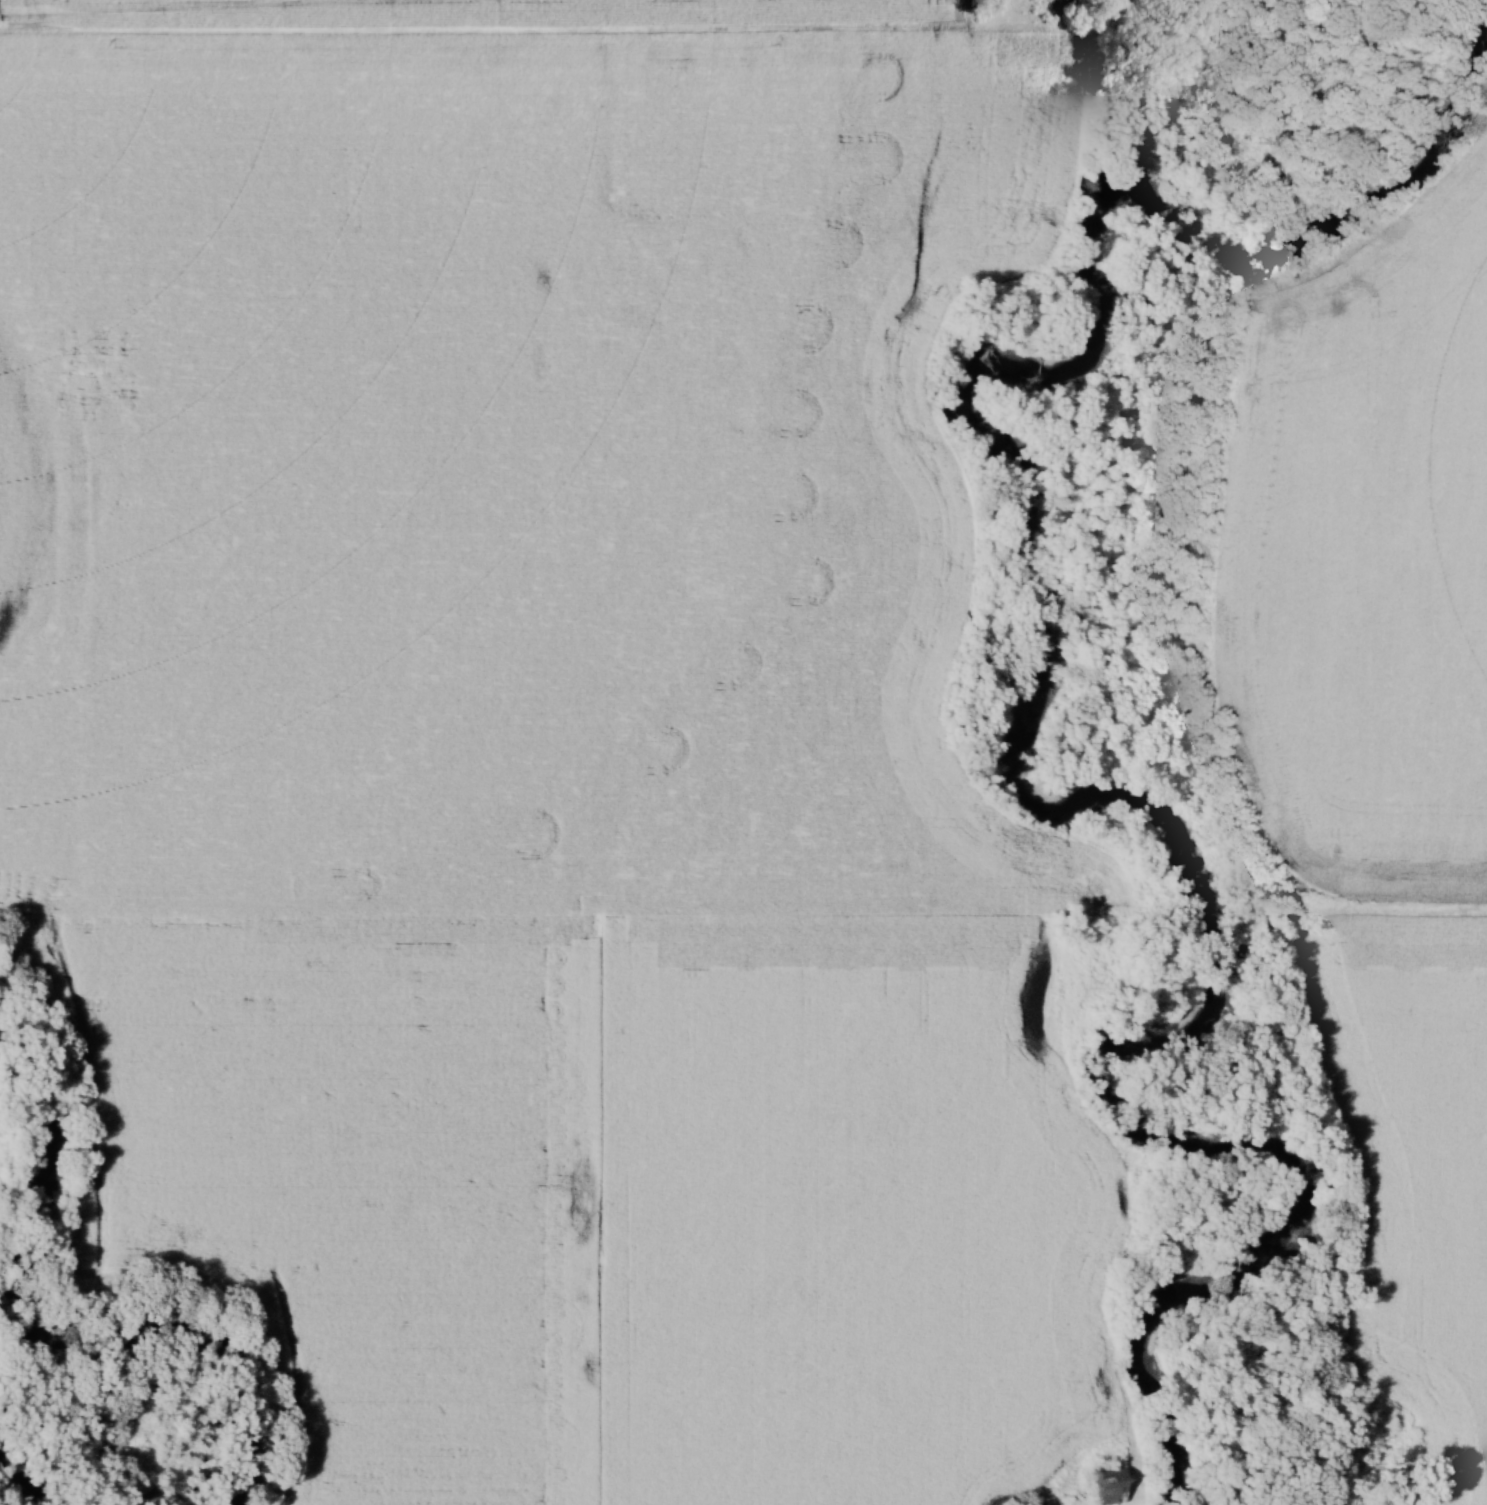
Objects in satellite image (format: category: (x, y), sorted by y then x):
building: (1106, 1487)

